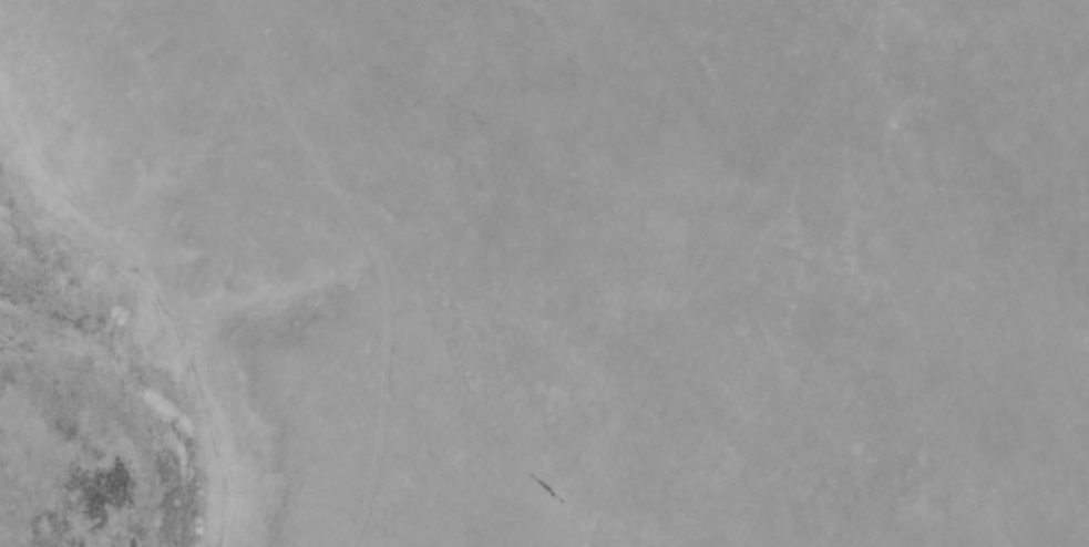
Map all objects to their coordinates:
power tower: (555, 496)

